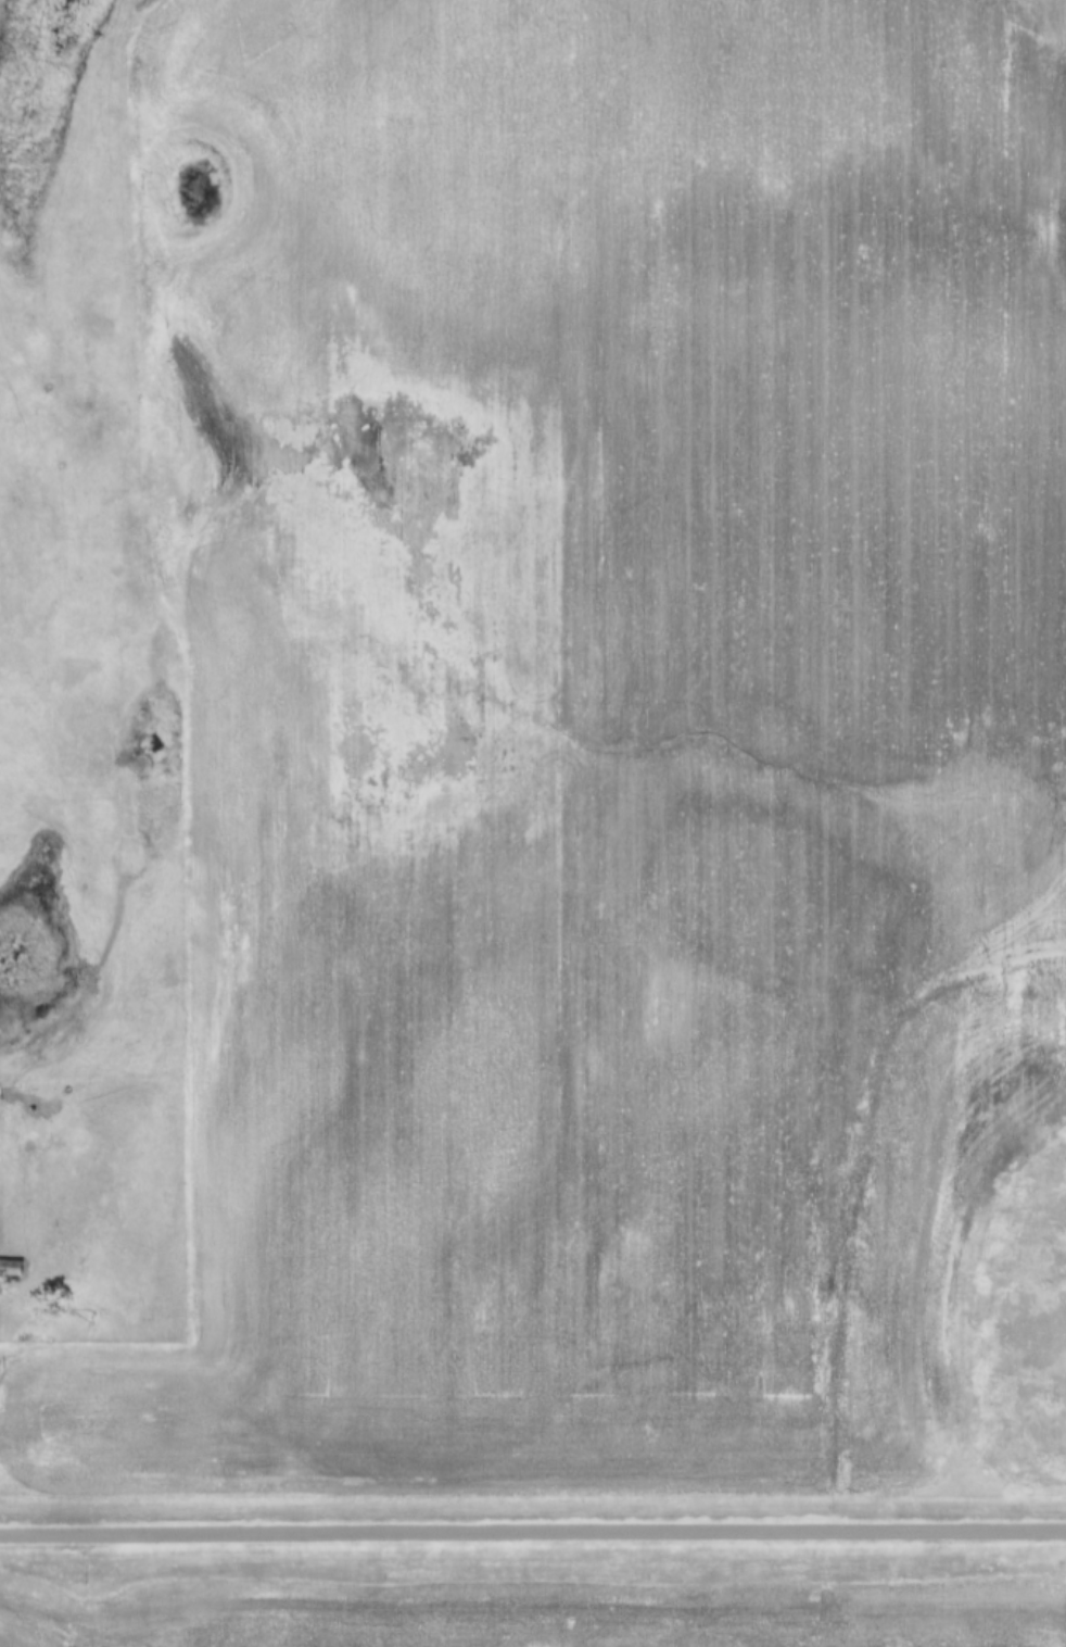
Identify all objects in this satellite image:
road: (532, 1537)

